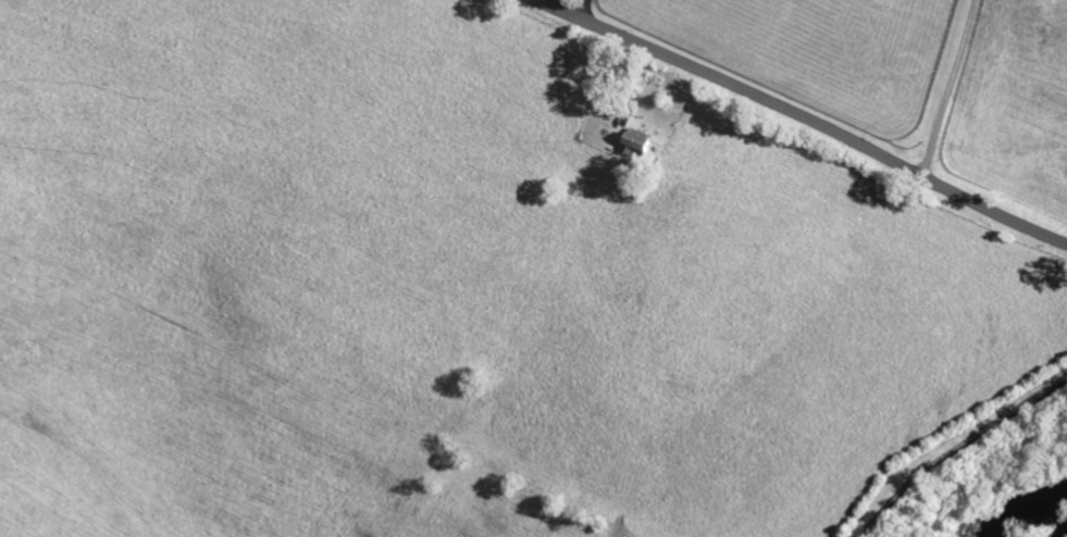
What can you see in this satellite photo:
road: (585, 9)
road: (948, 88)
road: (806, 116)
building: (635, 141)
road: (958, 449)
river: (1033, 516)

